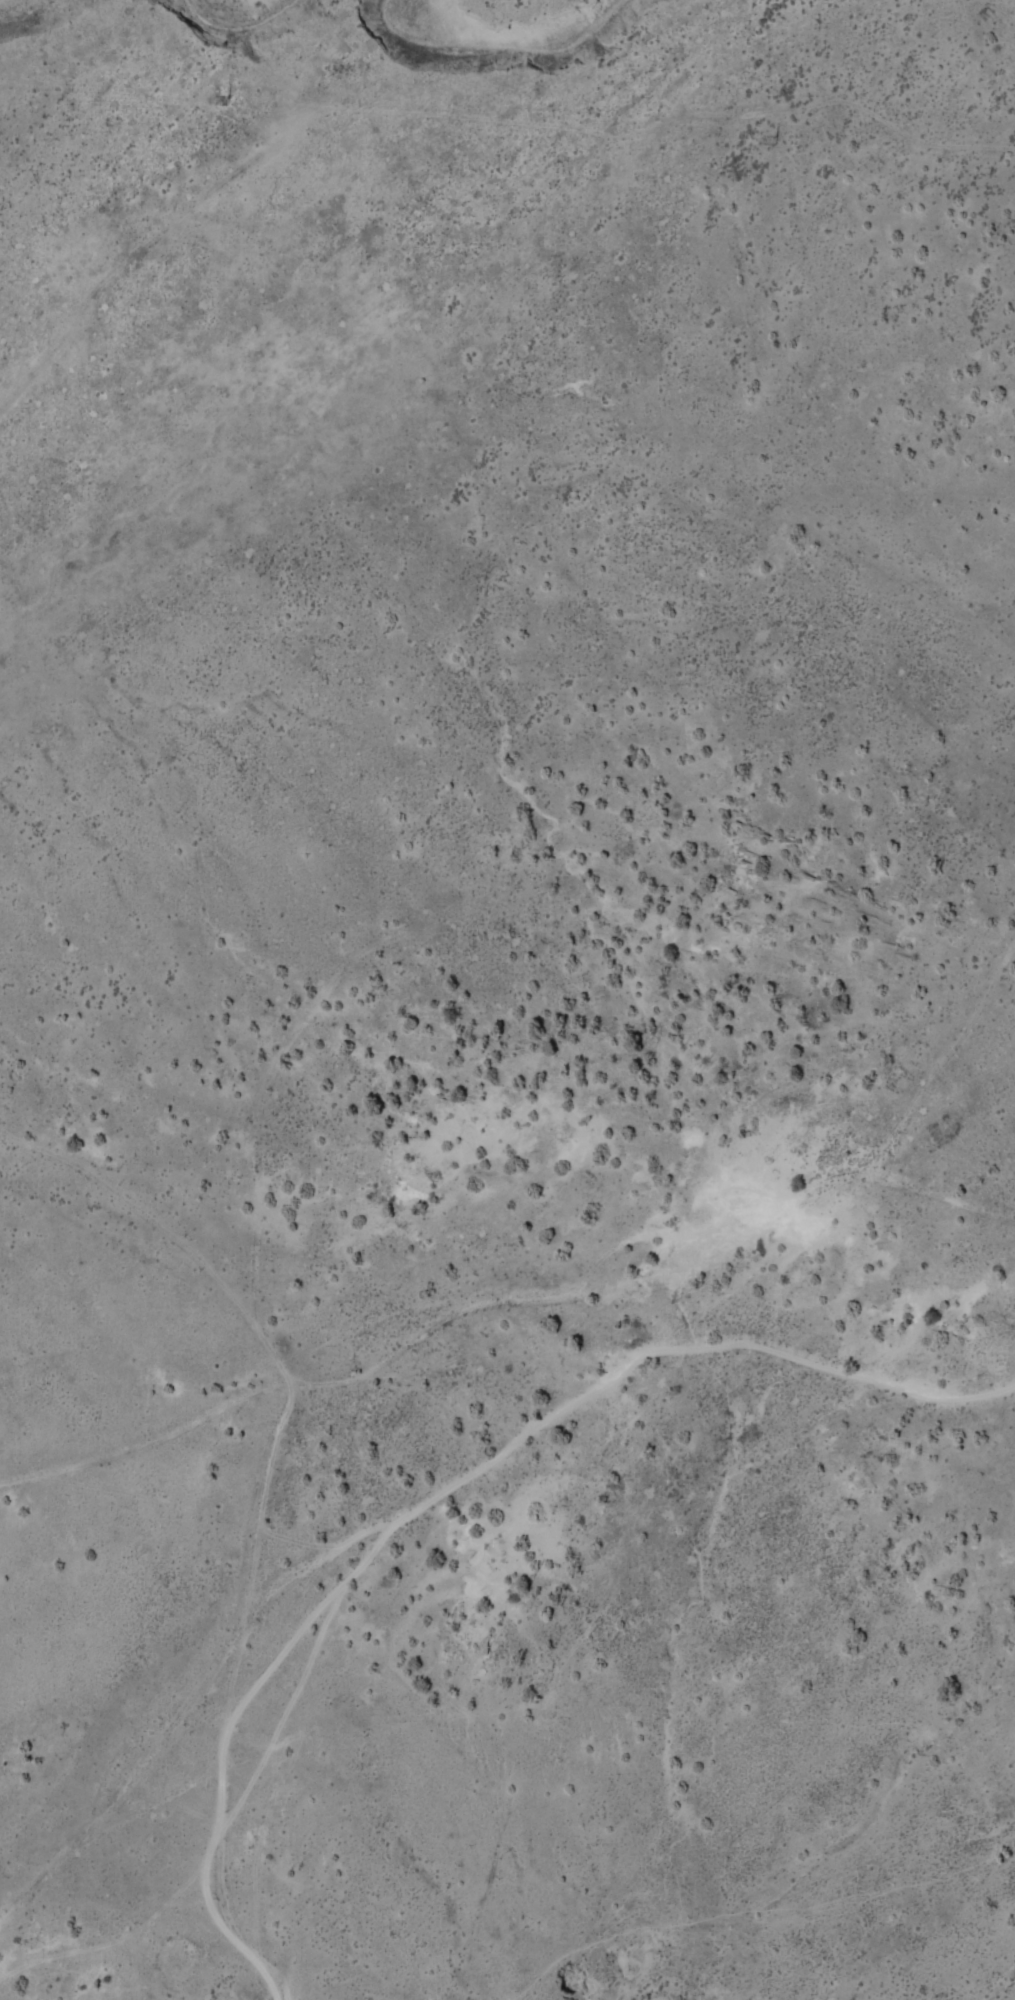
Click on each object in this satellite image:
power tower: (215, 104)
power tower: (764, 142)
road: (466, 1475)

